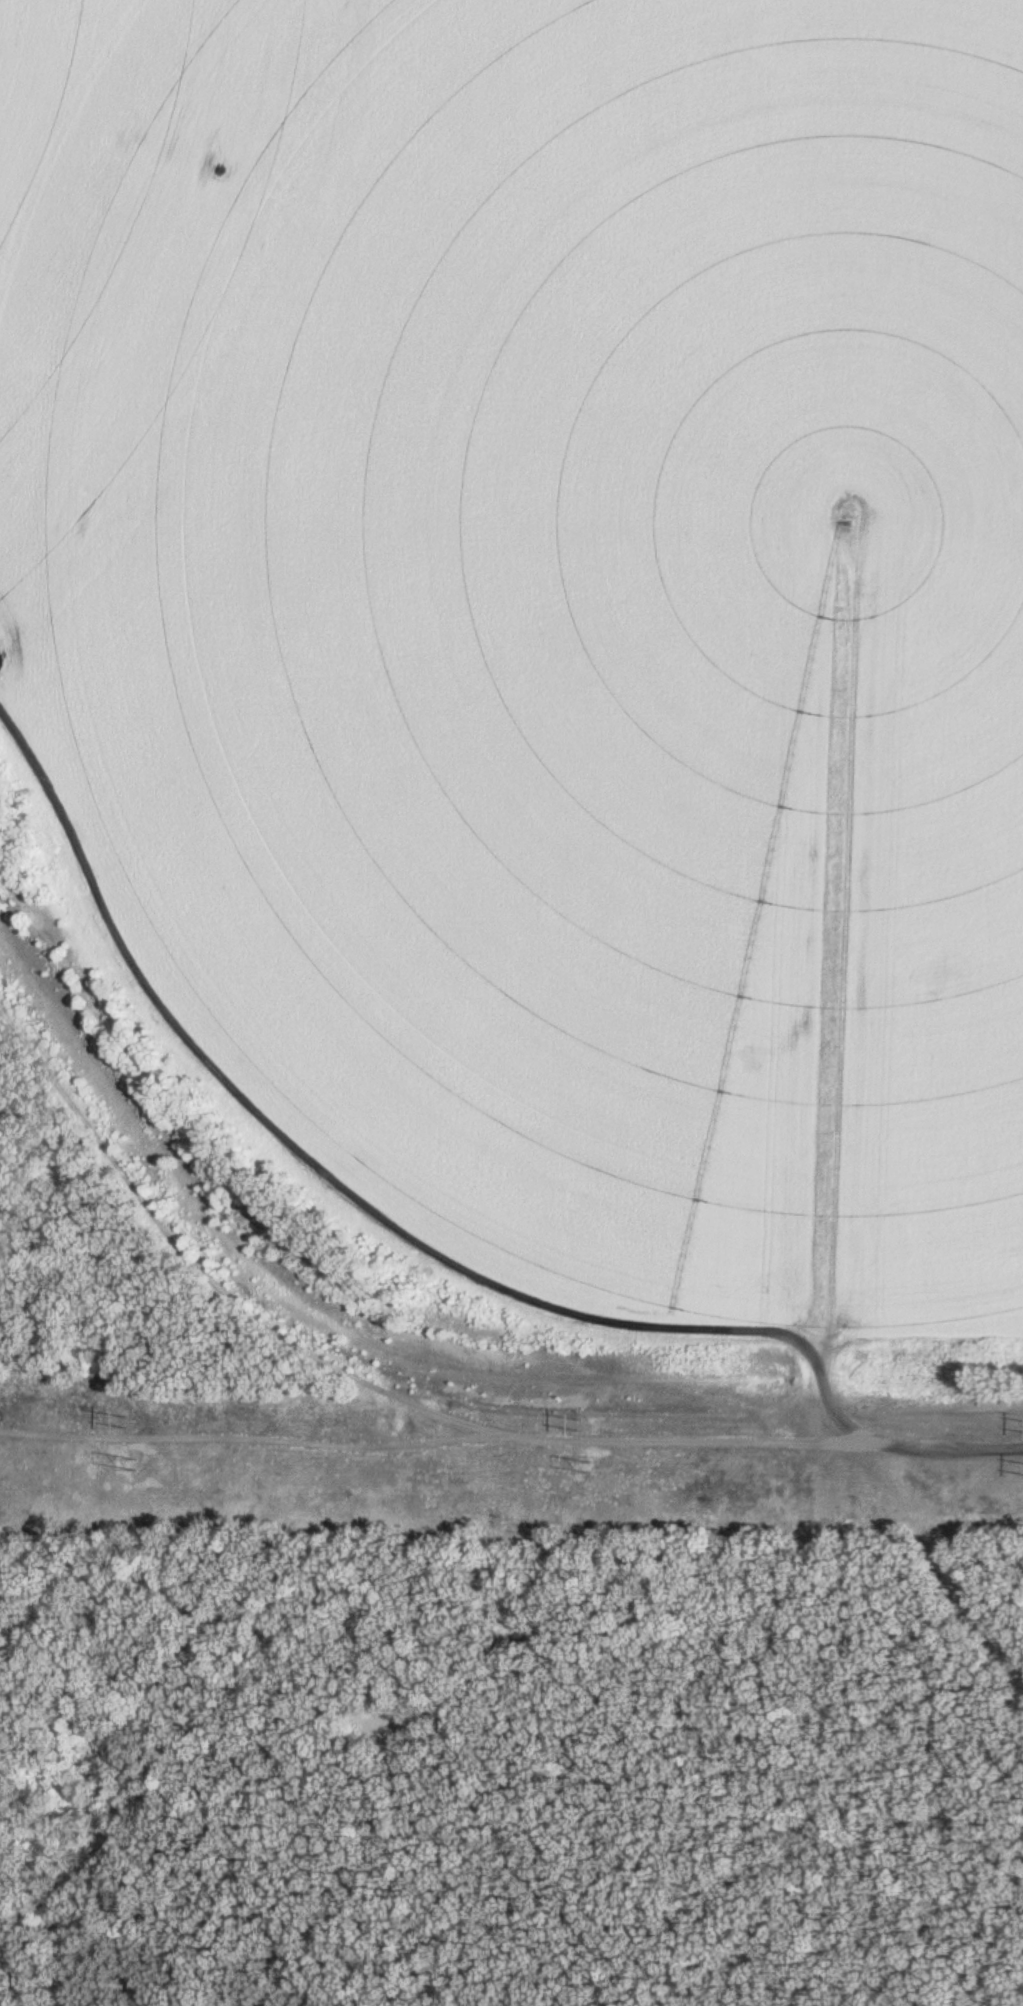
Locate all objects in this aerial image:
power tower: (130, 1419)
power tower: (583, 1422)
power tower: (128, 1461)
power tower: (584, 1464)

